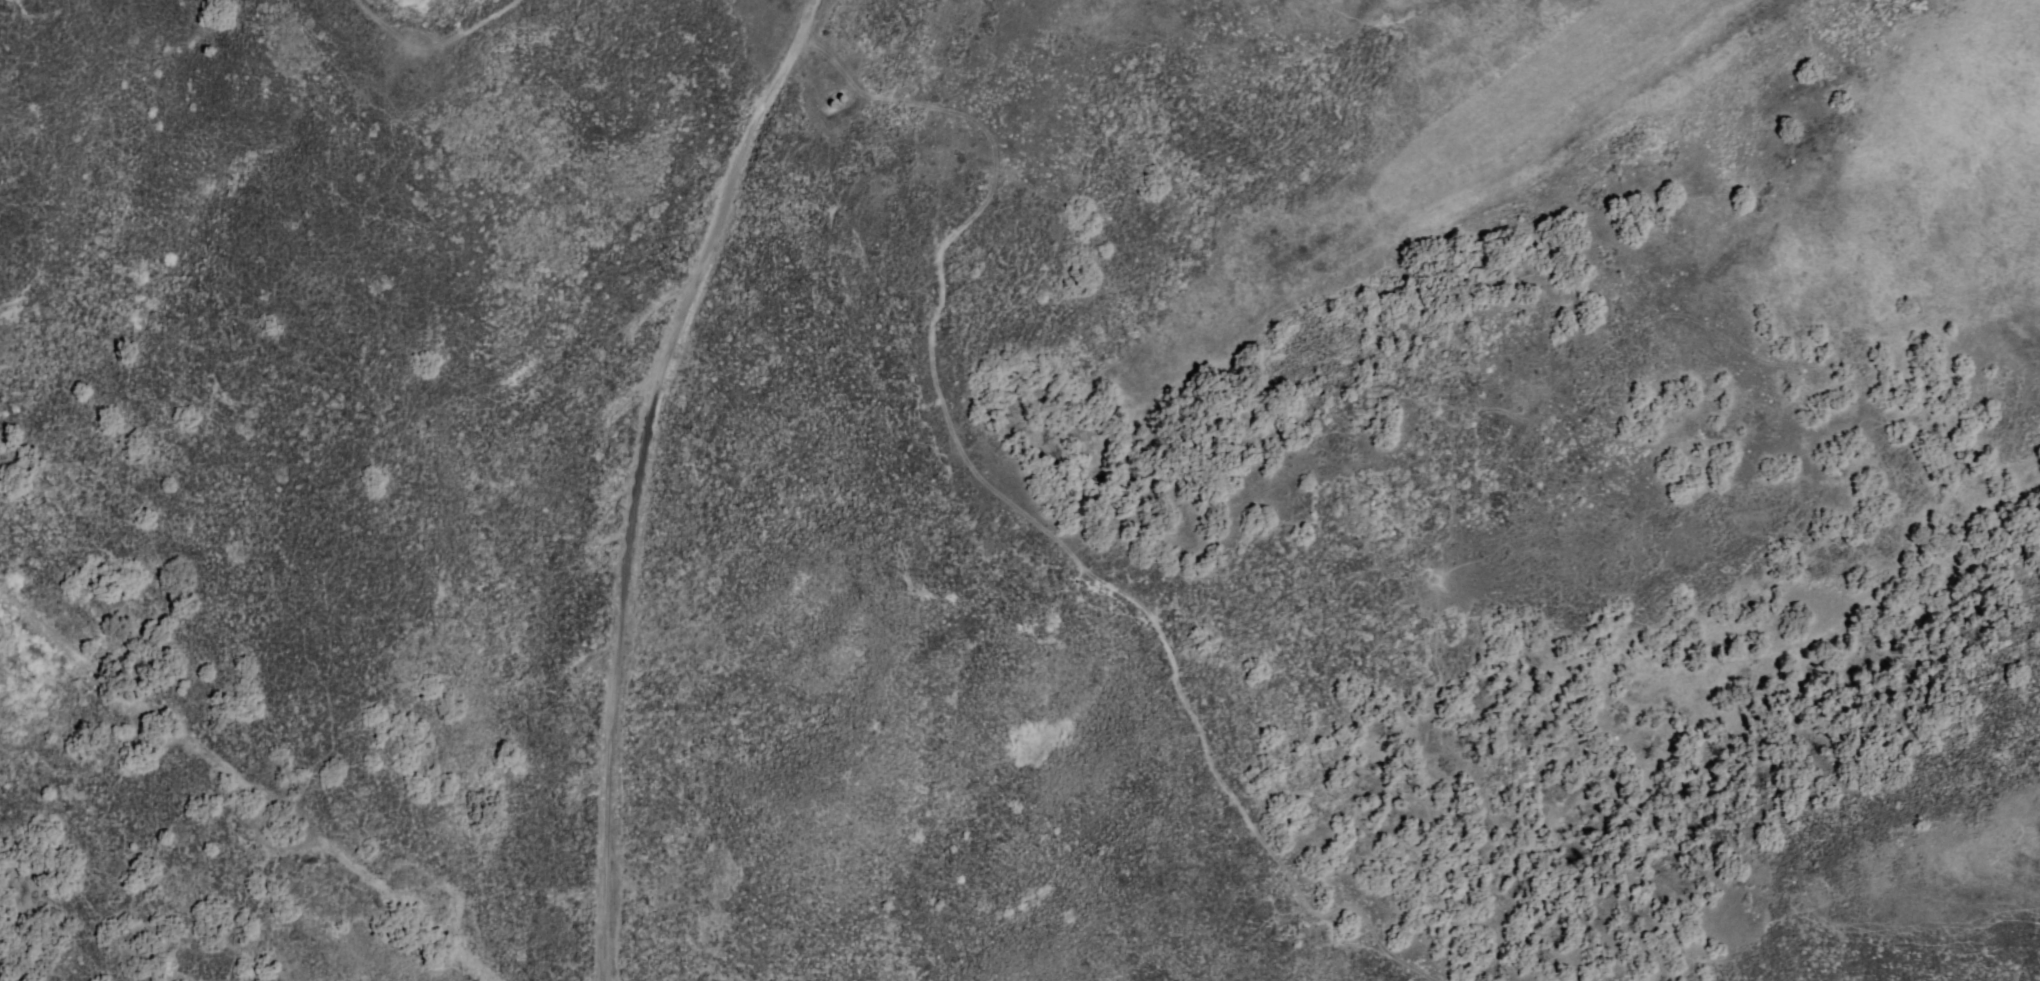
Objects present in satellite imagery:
road: (436, 37)
road: (652, 477)

